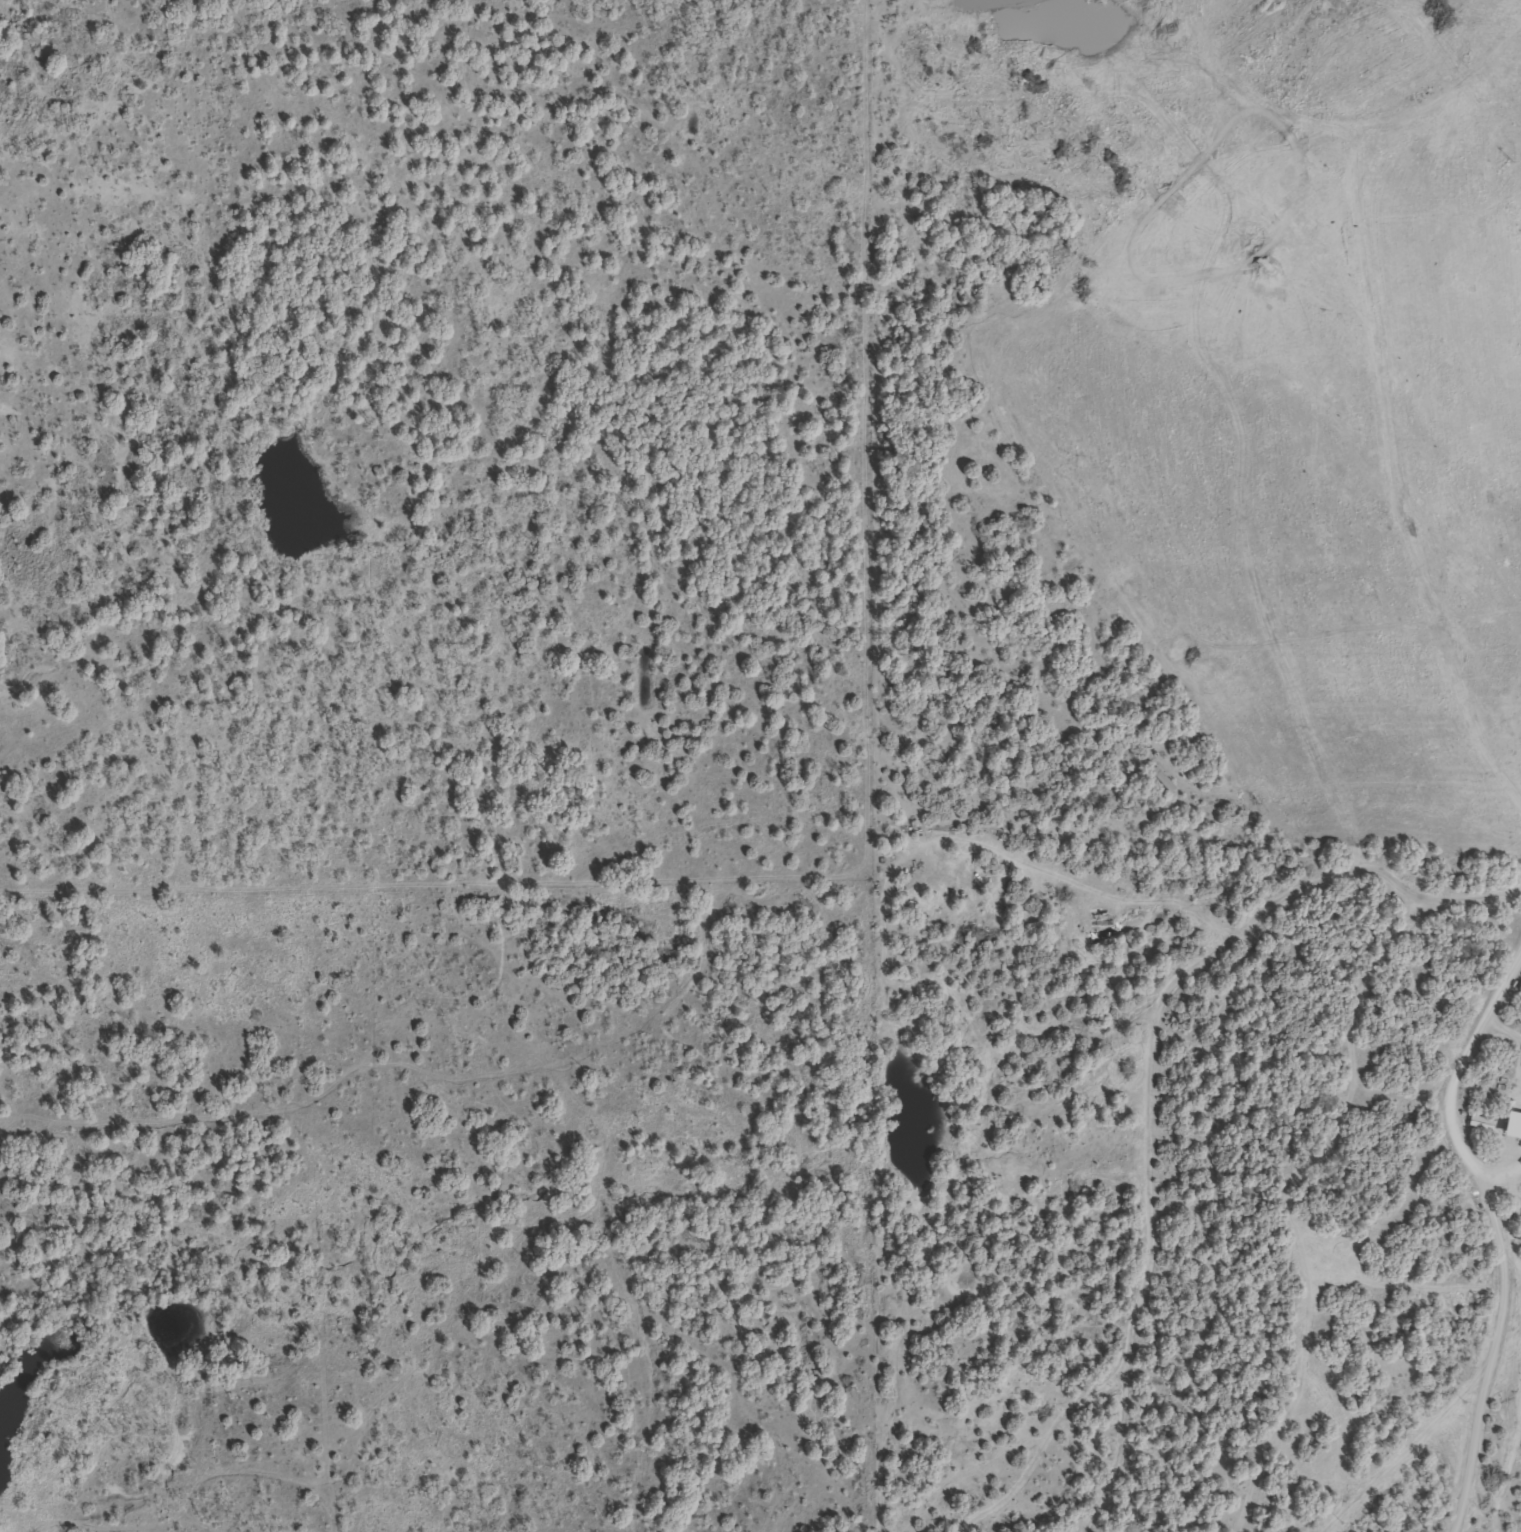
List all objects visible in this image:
building: (1163, 781)

